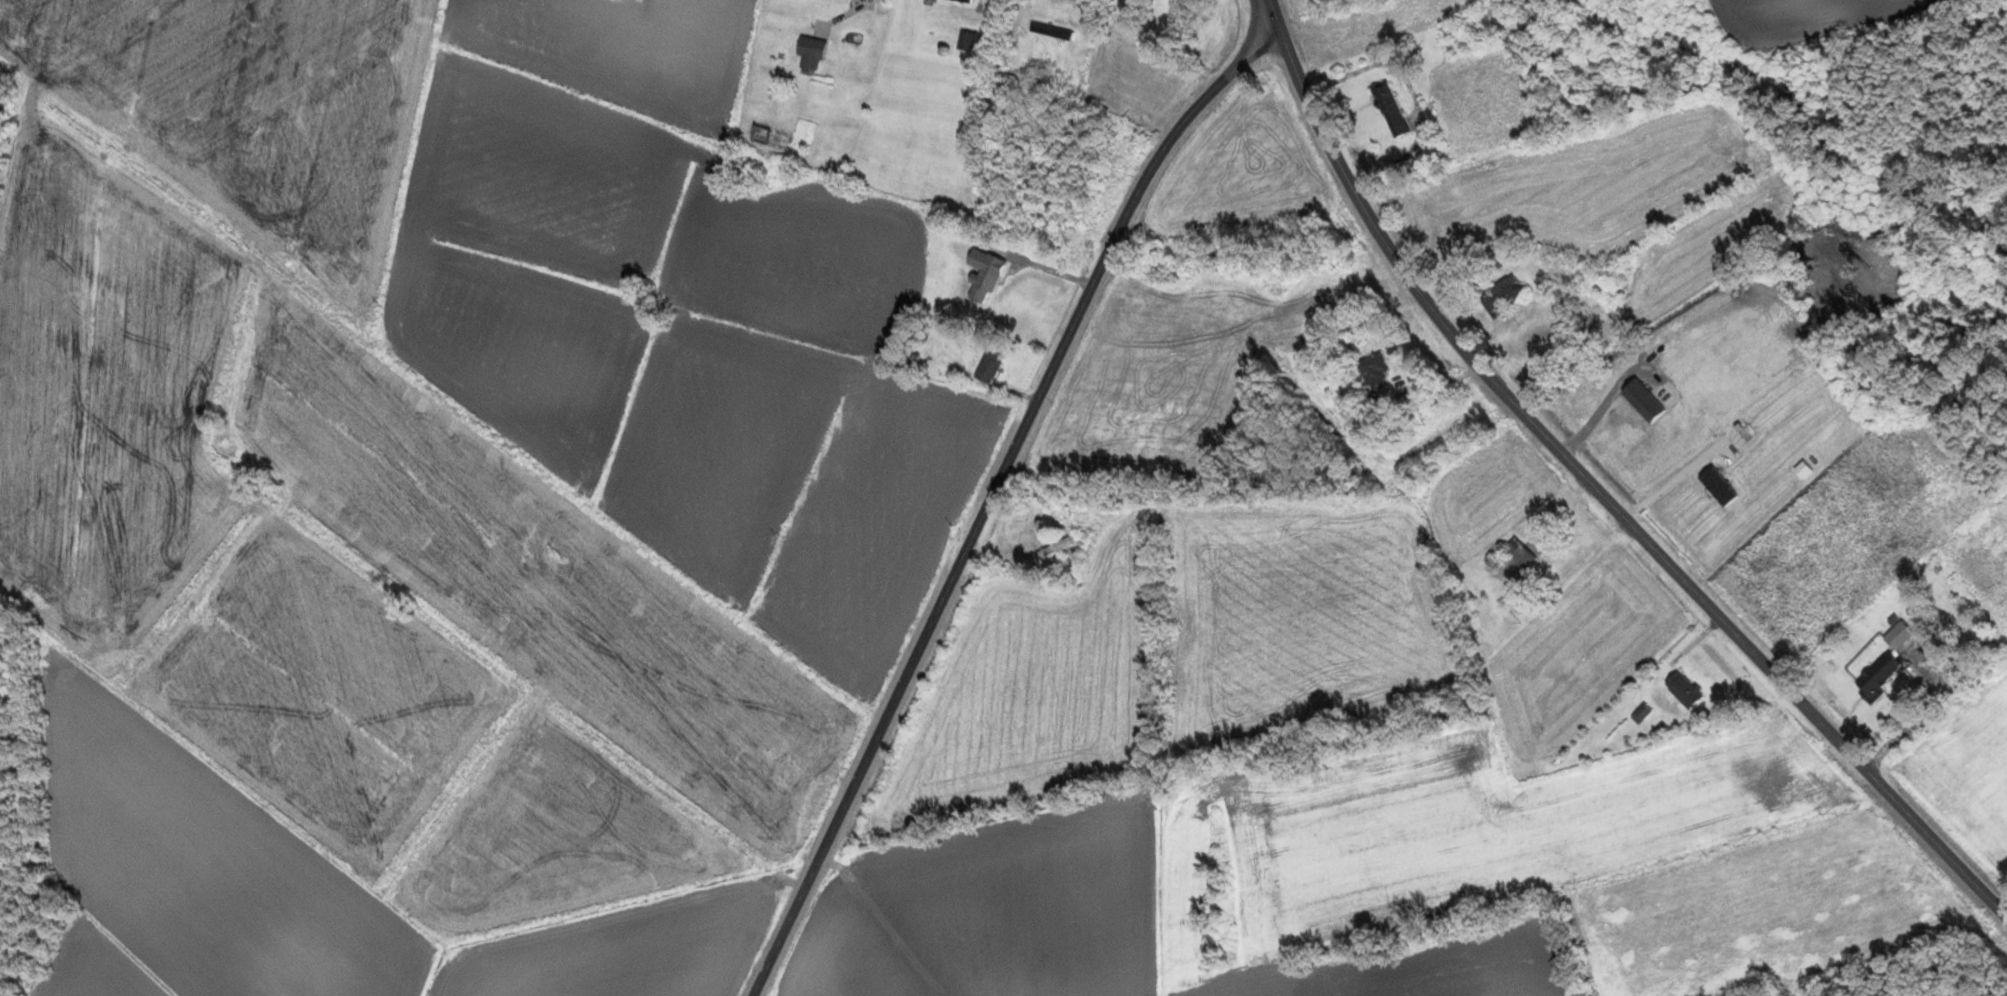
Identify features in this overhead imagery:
building: (962, 1)
building: (1049, 32)
building: (1449, 38)
building: (965, 41)
building: (807, 52)
building: (1389, 110)
building: (768, 138)
building: (1051, 183)
building: (981, 276)
building: (1501, 294)
building: (987, 366)
building: (1372, 371)
road: (1596, 486)
road: (991, 496)
building: (1062, 542)
building: (1516, 557)
building: (1897, 635)
building: (1875, 676)
building: (1681, 689)

